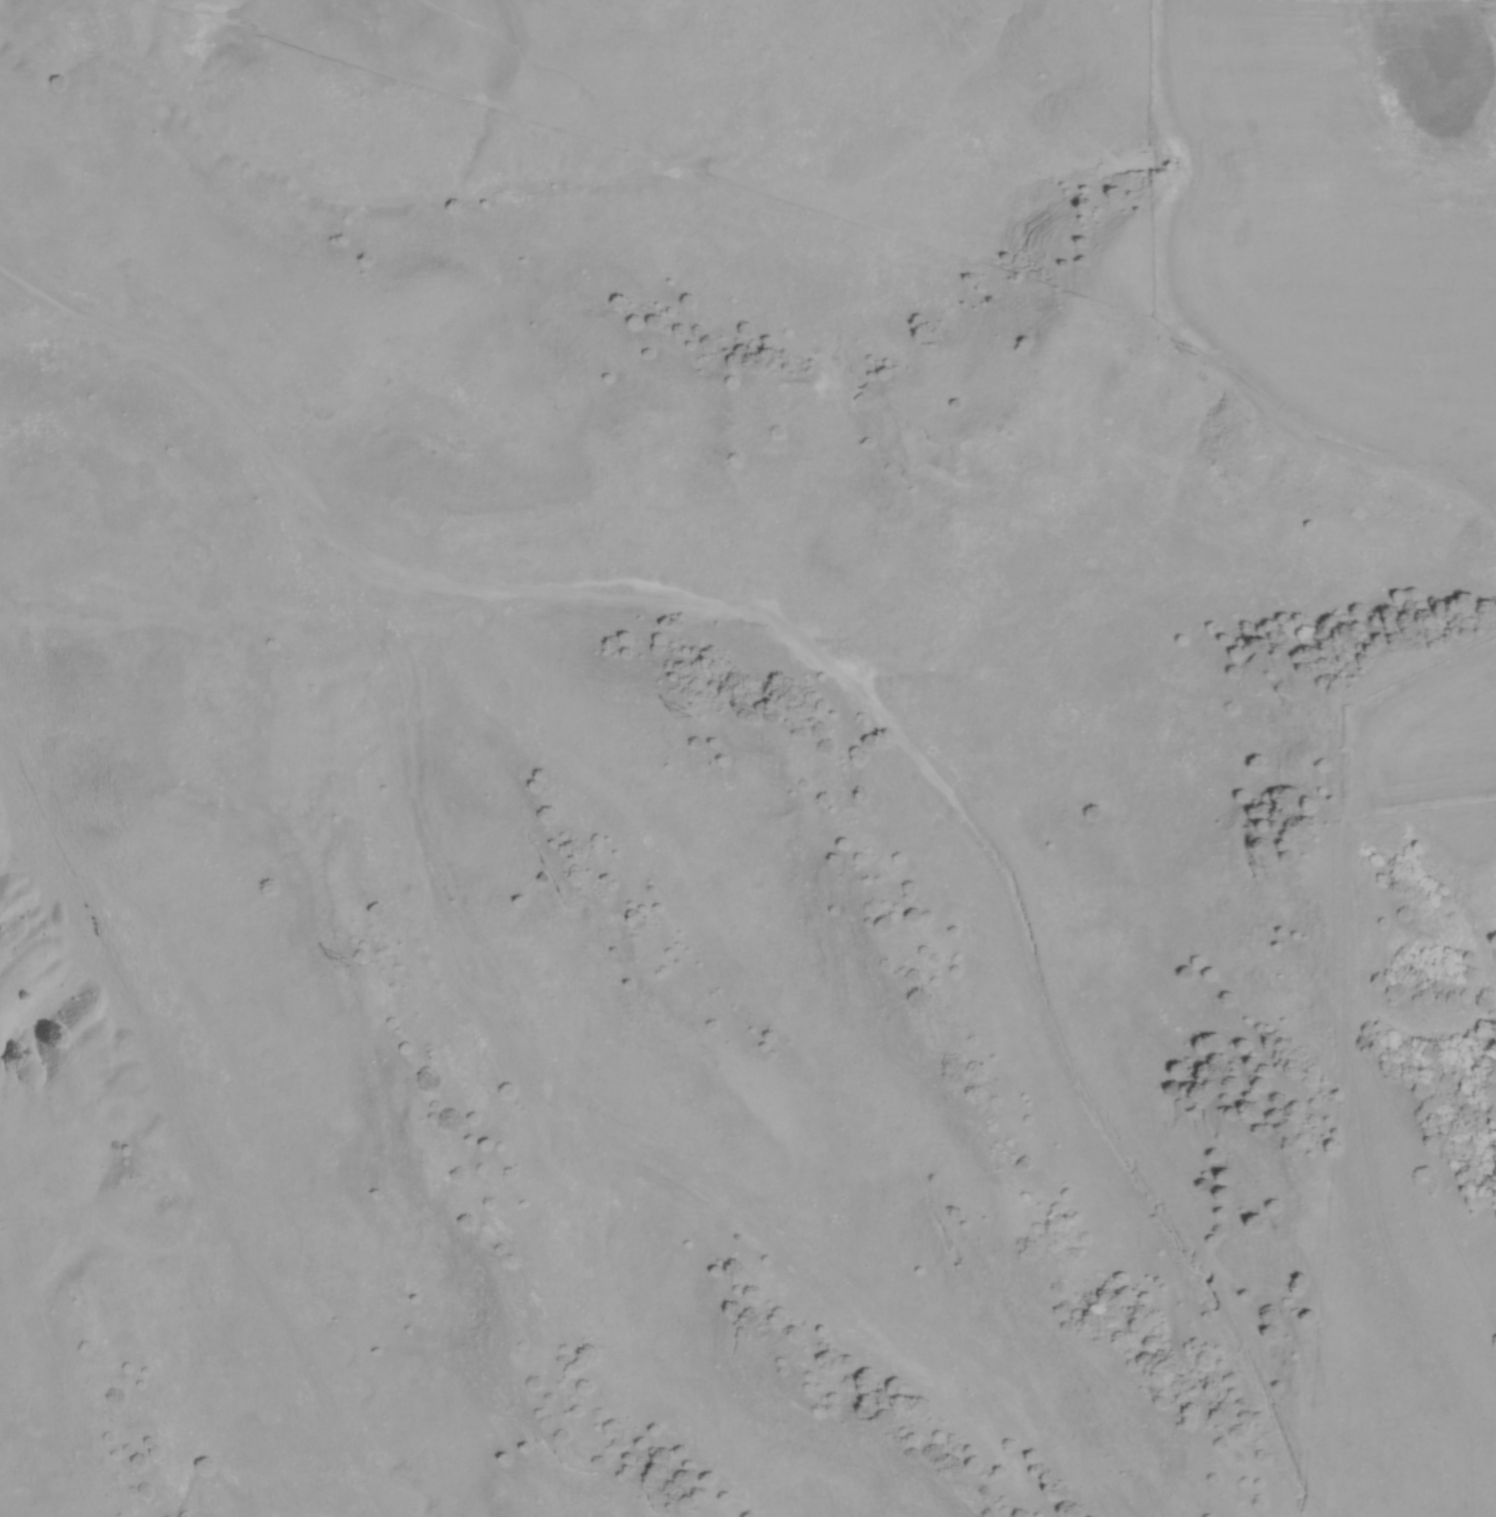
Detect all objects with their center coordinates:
power tower: (1197, 353)
power tower: (698, 714)
power tower: (353, 965)

